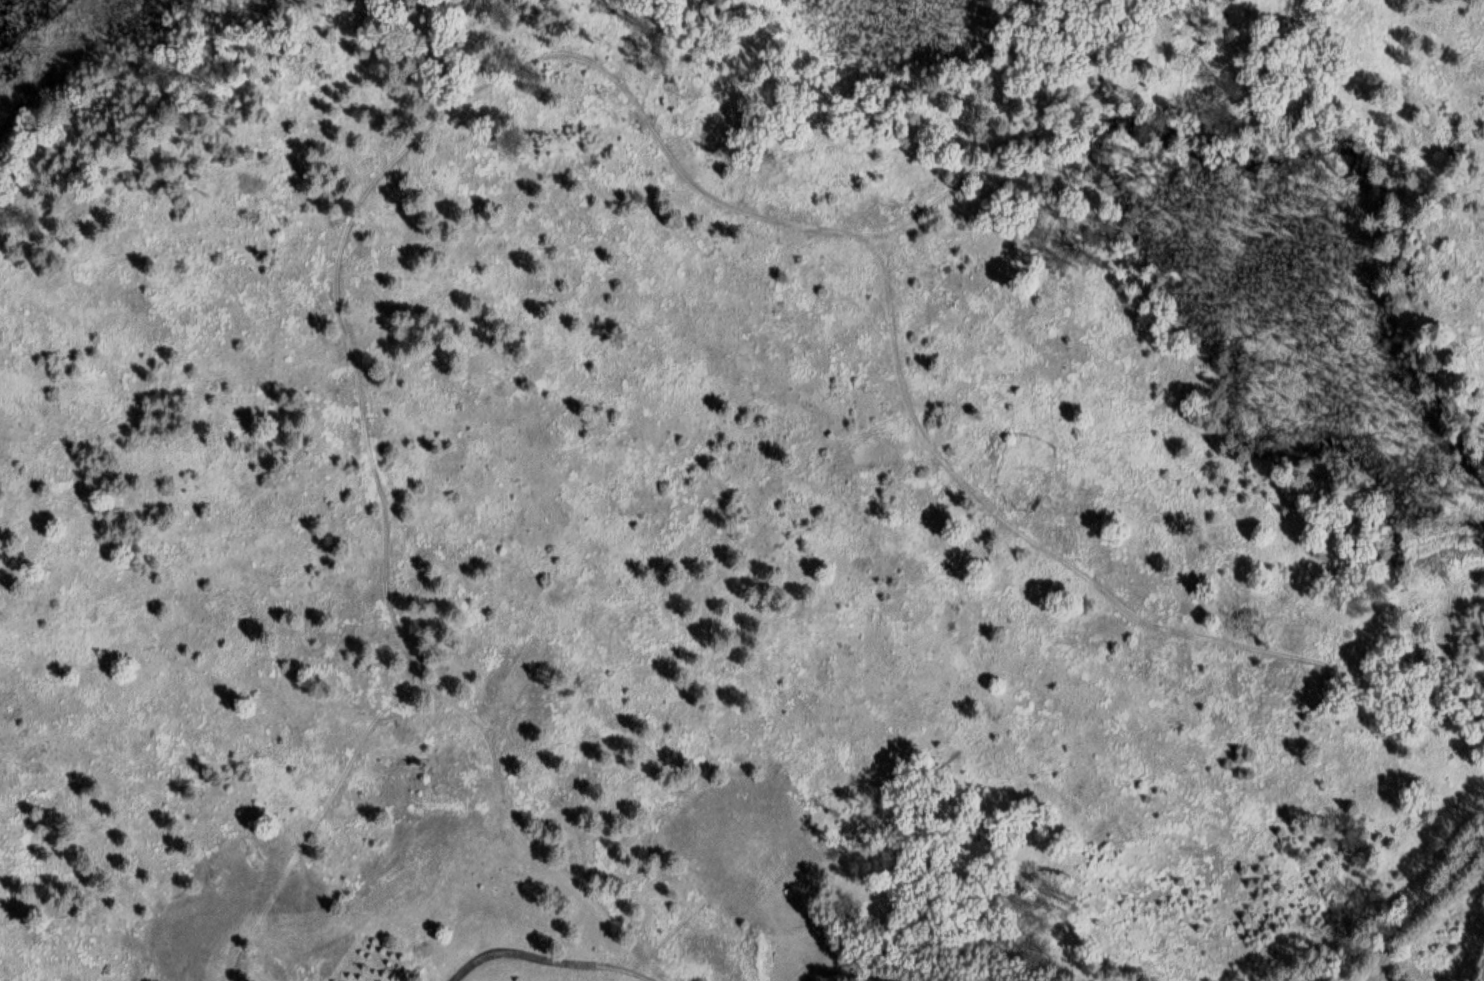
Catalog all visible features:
road: (1375, 910)

